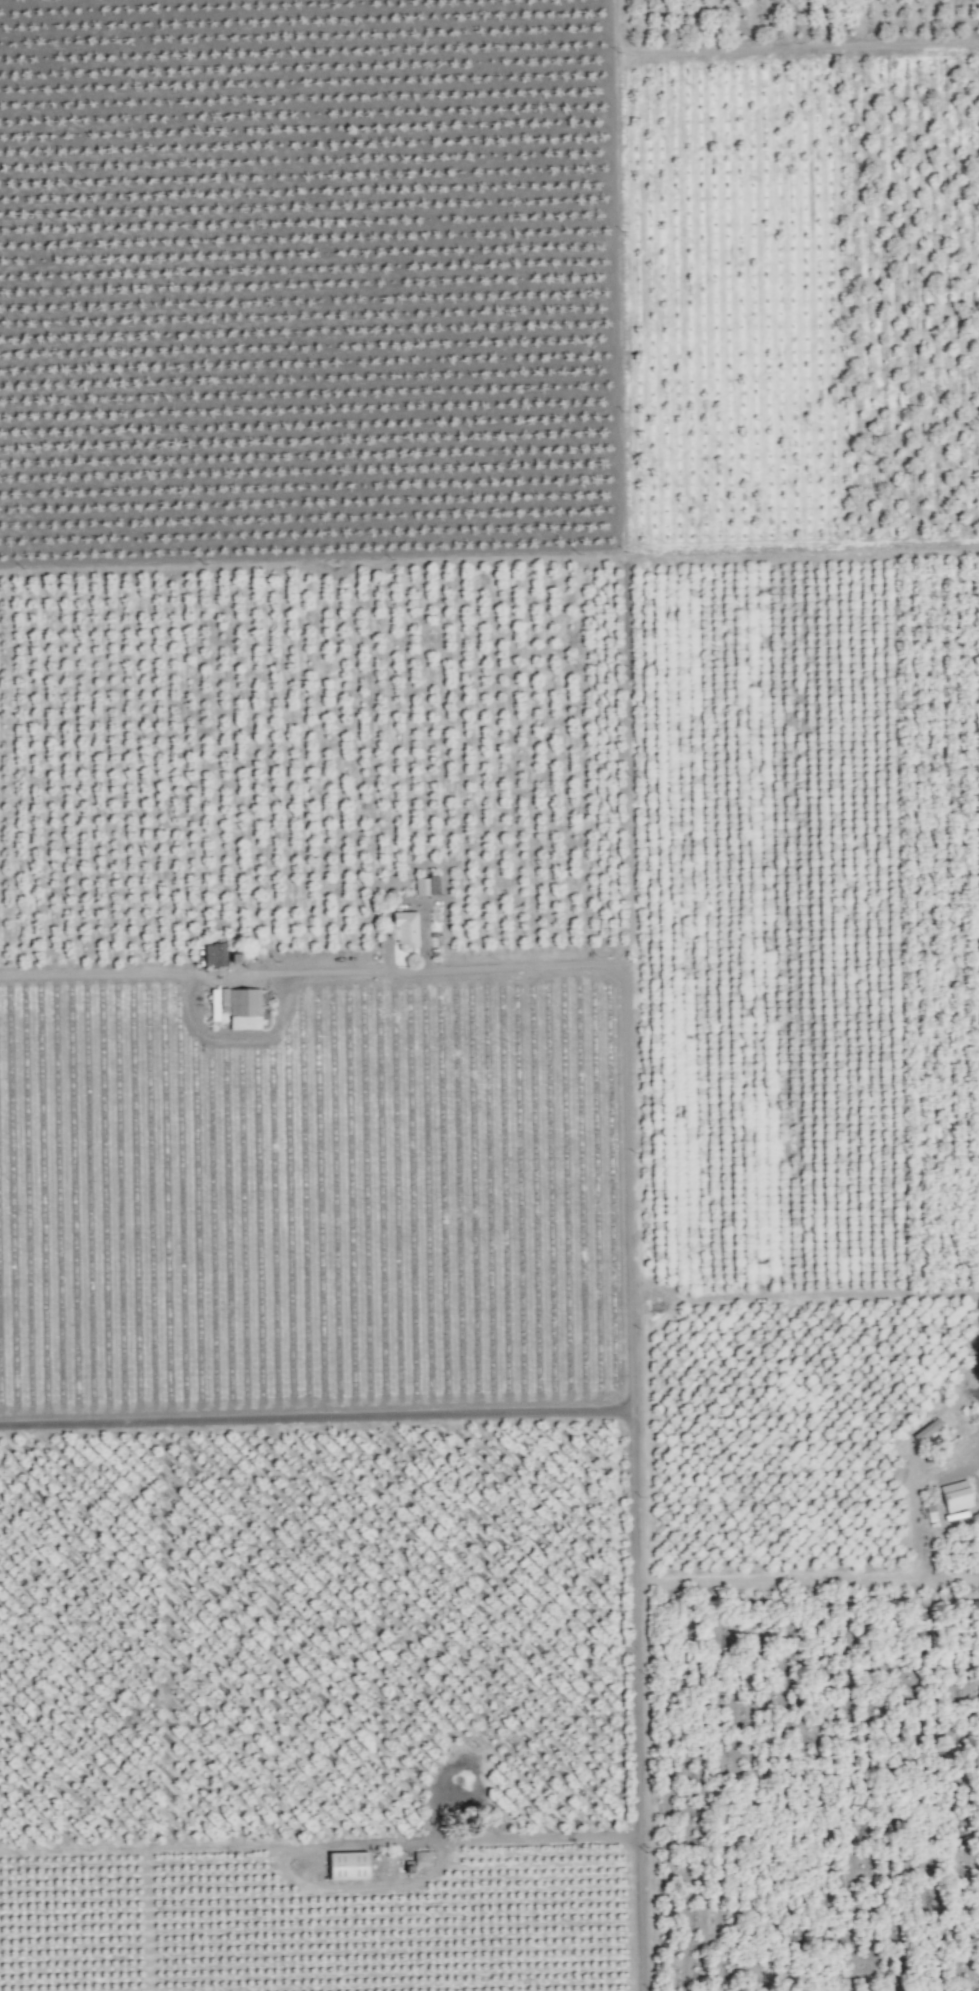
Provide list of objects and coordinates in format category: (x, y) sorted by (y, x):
building: (425, 885)
building: (404, 927)
building: (213, 954)
road: (430, 969)
building: (216, 1001)
building: (243, 1008)
road: (642, 1484)
building: (955, 1496)
road: (530, 1838)
building: (420, 1857)
building: (345, 1864)

